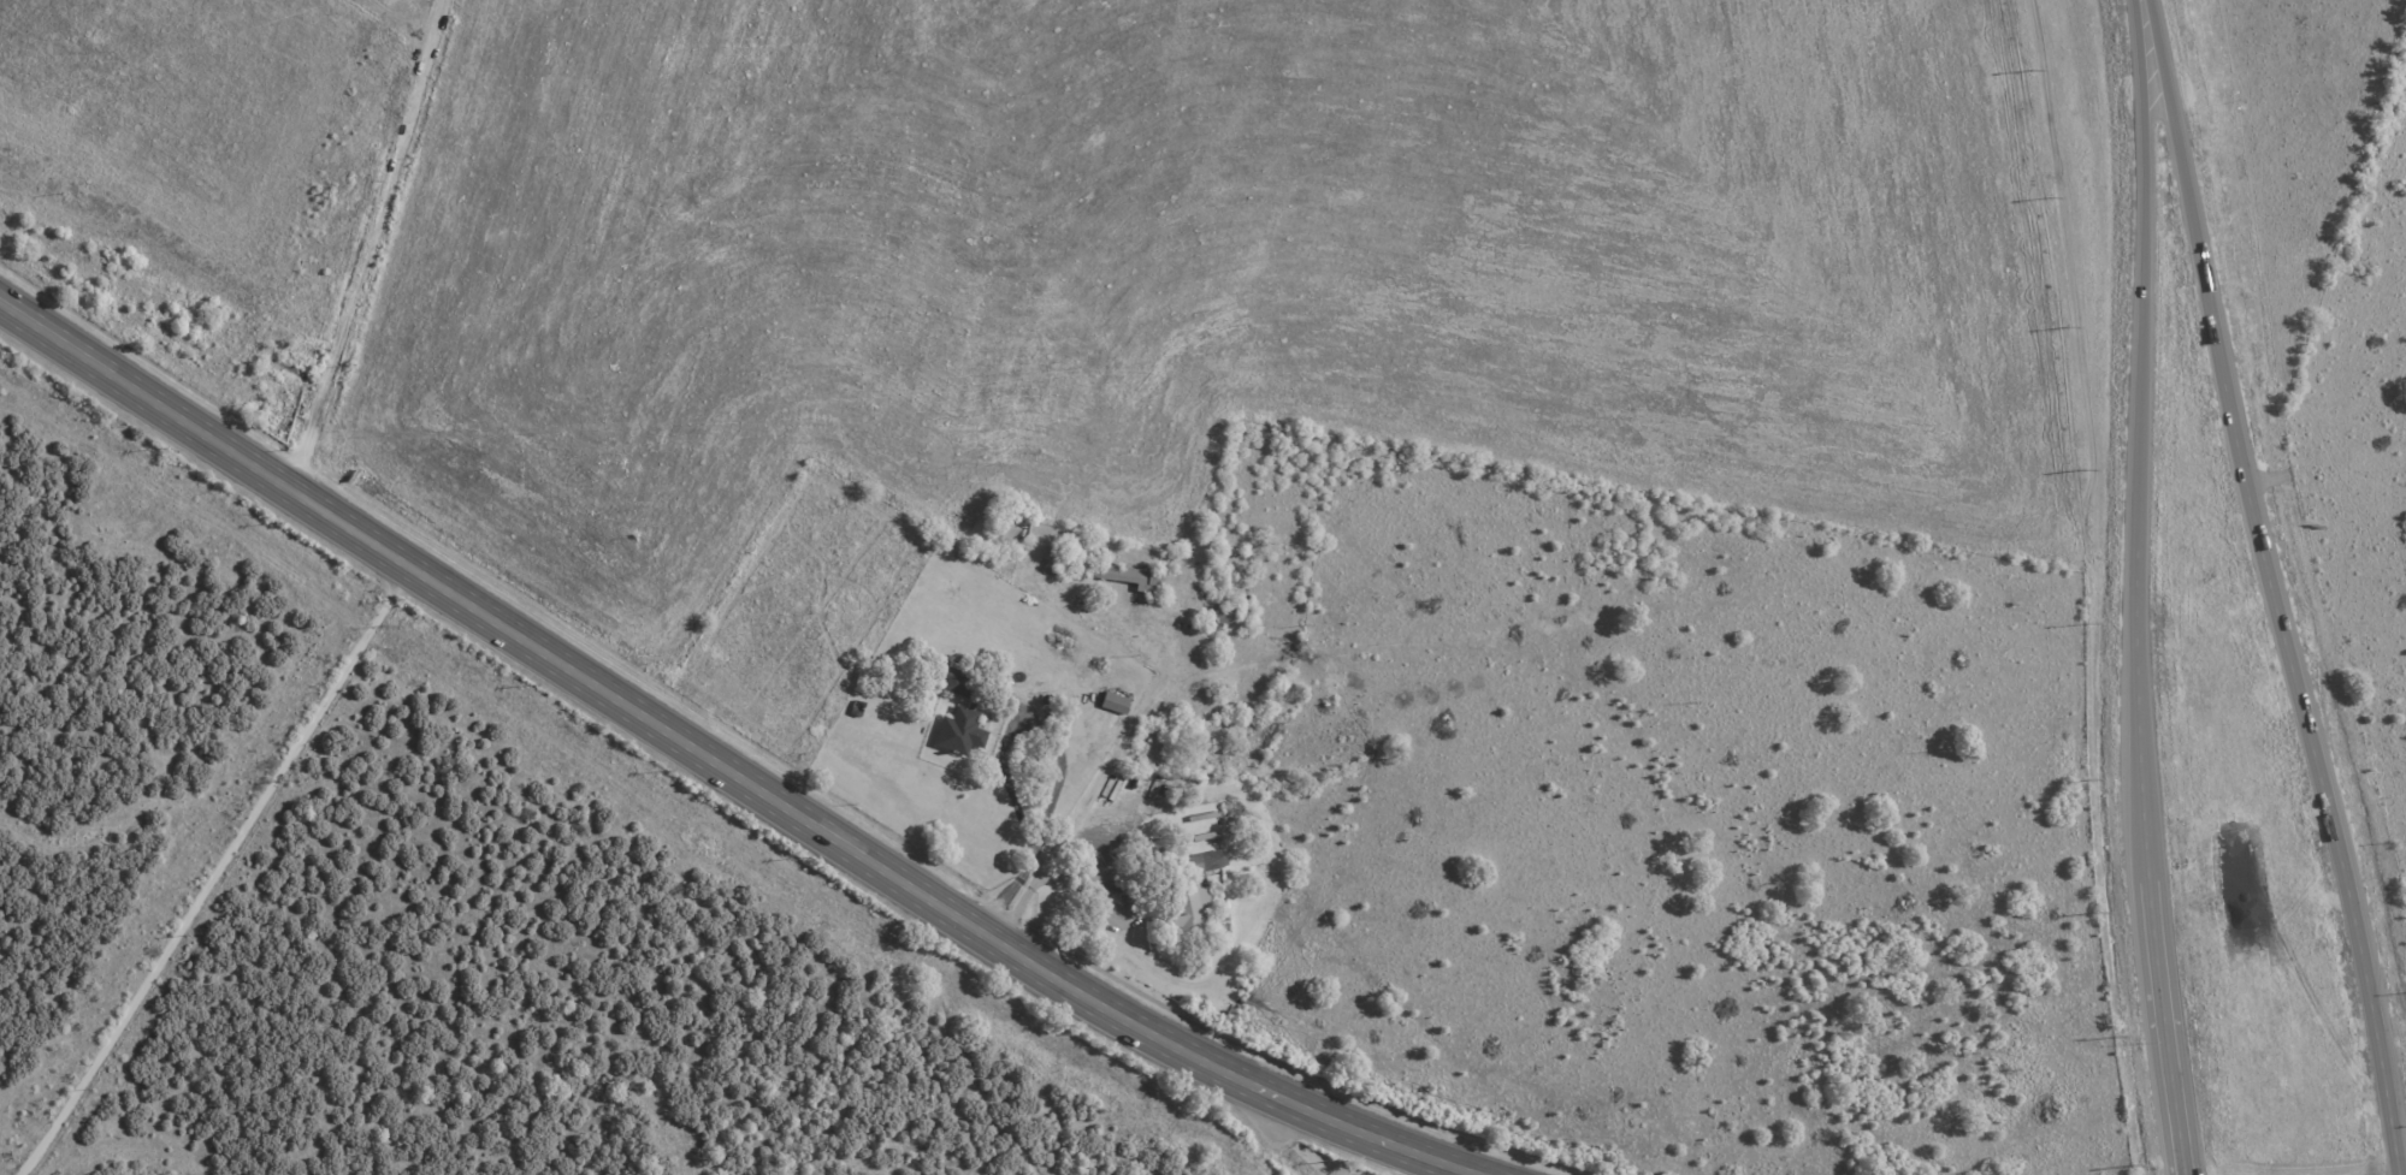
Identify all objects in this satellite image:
road: (2146, 19)
building: (1131, 577)
road: (2280, 606)
road: (2141, 607)
building: (1225, 615)
building: (957, 684)
building: (1115, 702)
building: (959, 731)
road: (1058, 748)
road: (722, 766)
road: (1060, 836)
road: (213, 871)
building: (1193, 891)
road: (2188, 1170)
road: (2396, 1171)

